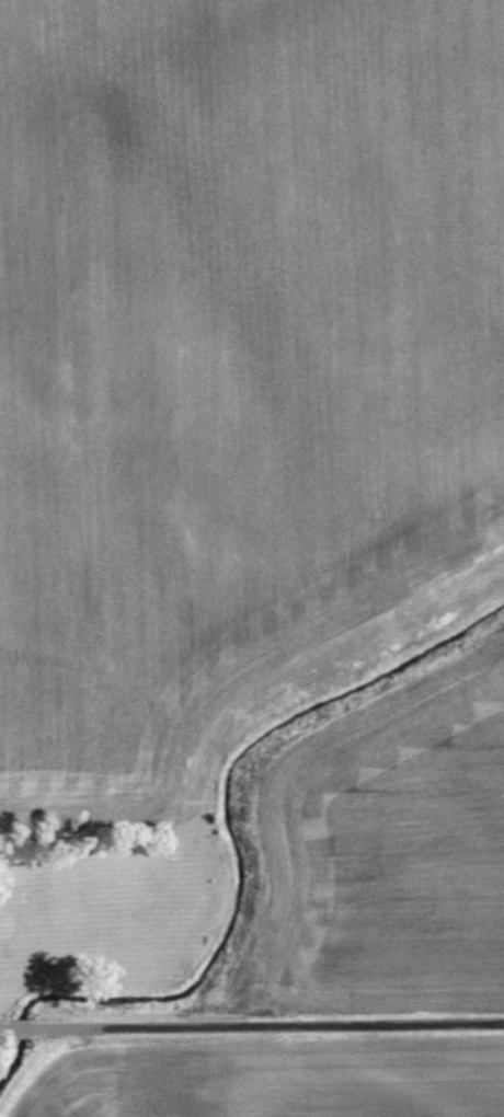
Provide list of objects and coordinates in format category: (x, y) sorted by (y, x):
road: (252, 1023)

